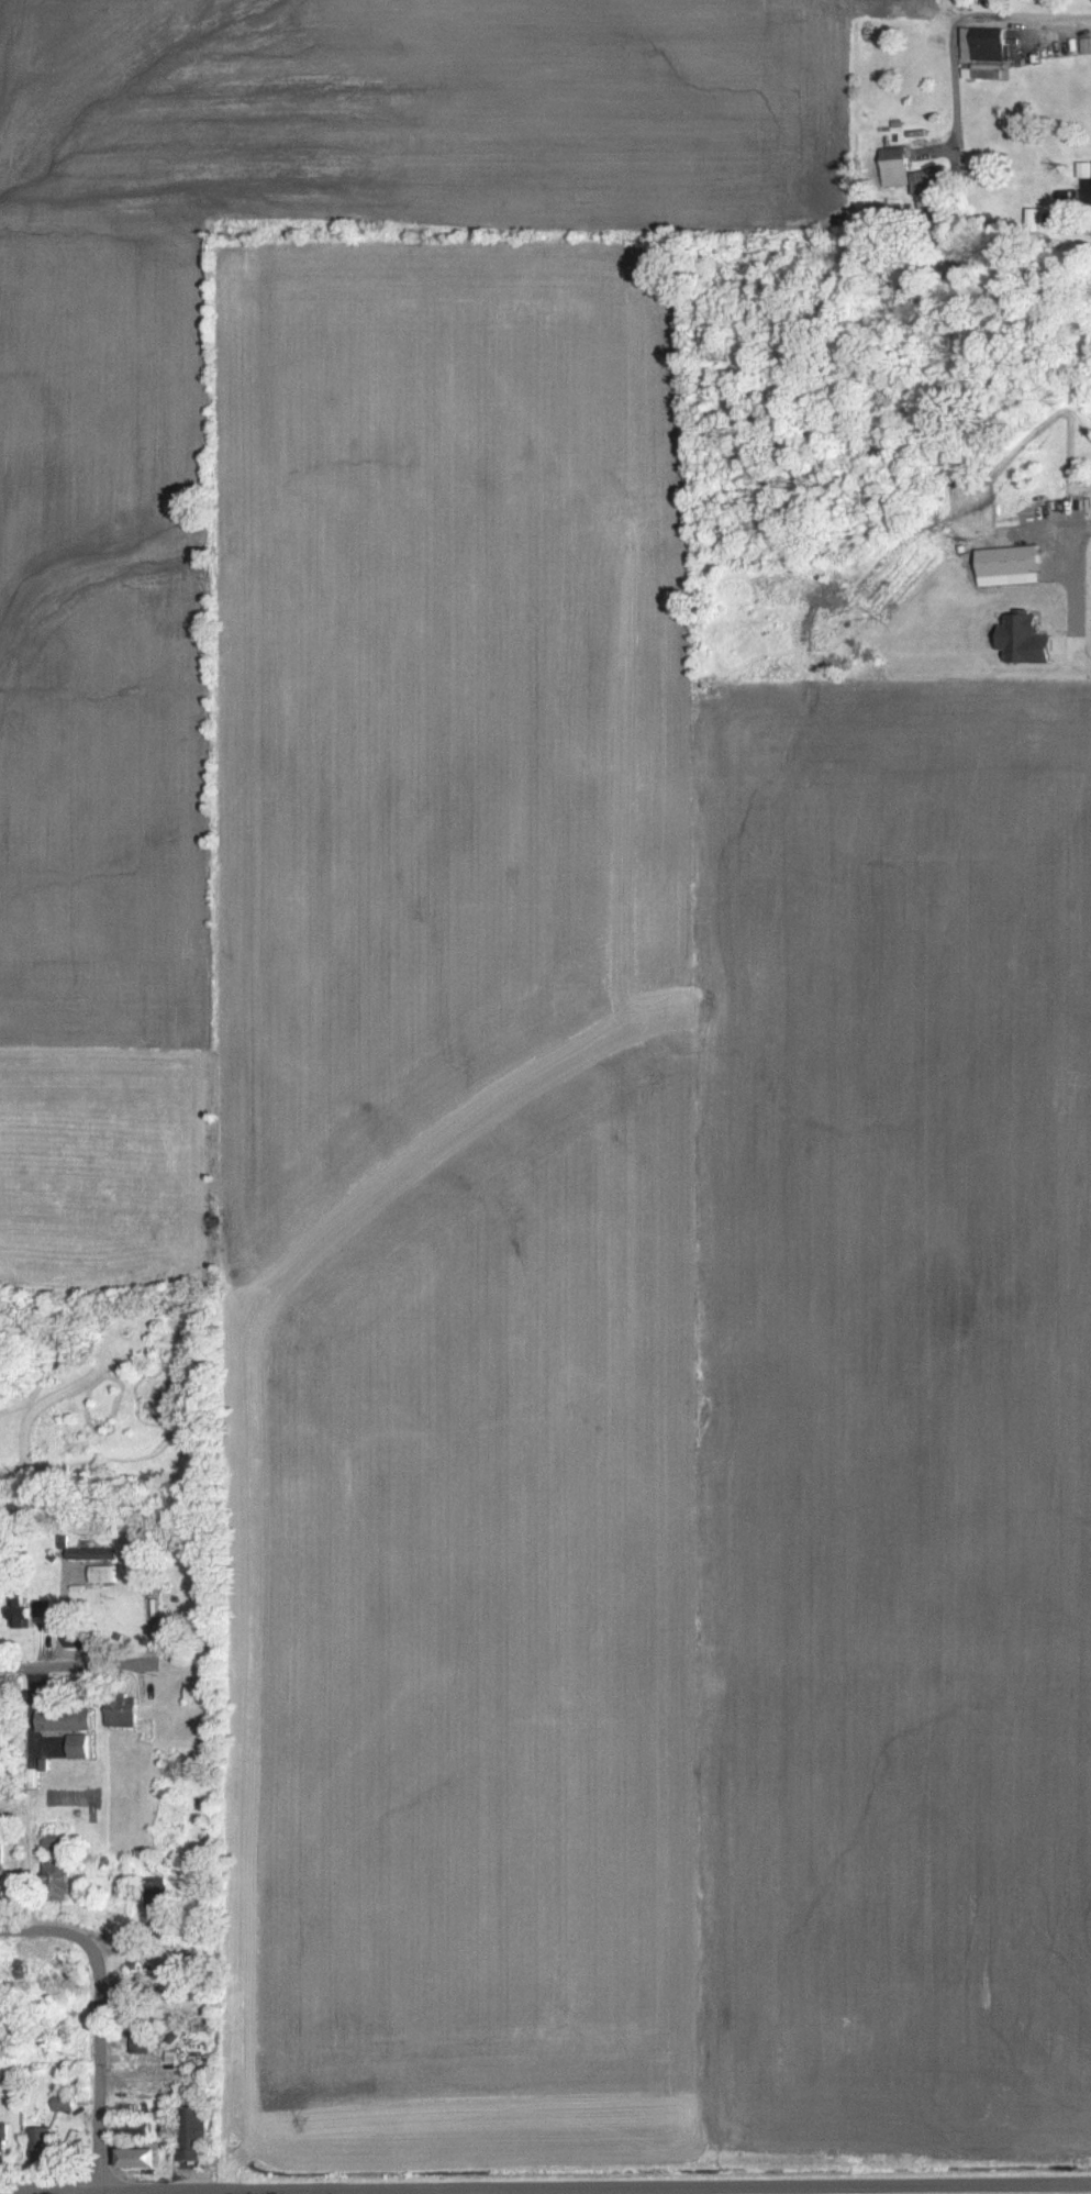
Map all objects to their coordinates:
building: (1084, 44)
building: (982, 51)
building: (892, 164)
building: (1081, 167)
building: (1028, 218)
building: (1004, 559)
building: (1020, 638)
crop: (557, 1107)
building: (98, 1552)
building: (109, 1573)
building: (36, 1614)
building: (86, 1638)
road: (79, 1667)
building: (8, 1707)
building: (119, 1709)
building: (60, 1718)
building: (77, 1744)
building: (0, 1871)
building: (54, 1879)
road: (44, 1930)
building: (136, 2038)
building: (7, 2043)
road: (100, 2065)
building: (60, 2099)
building: (189, 2129)
building: (1, 2136)
building: (40, 2140)
building: (133, 2156)
road: (595, 2186)
road: (52, 2192)
crop: (877, 2193)

